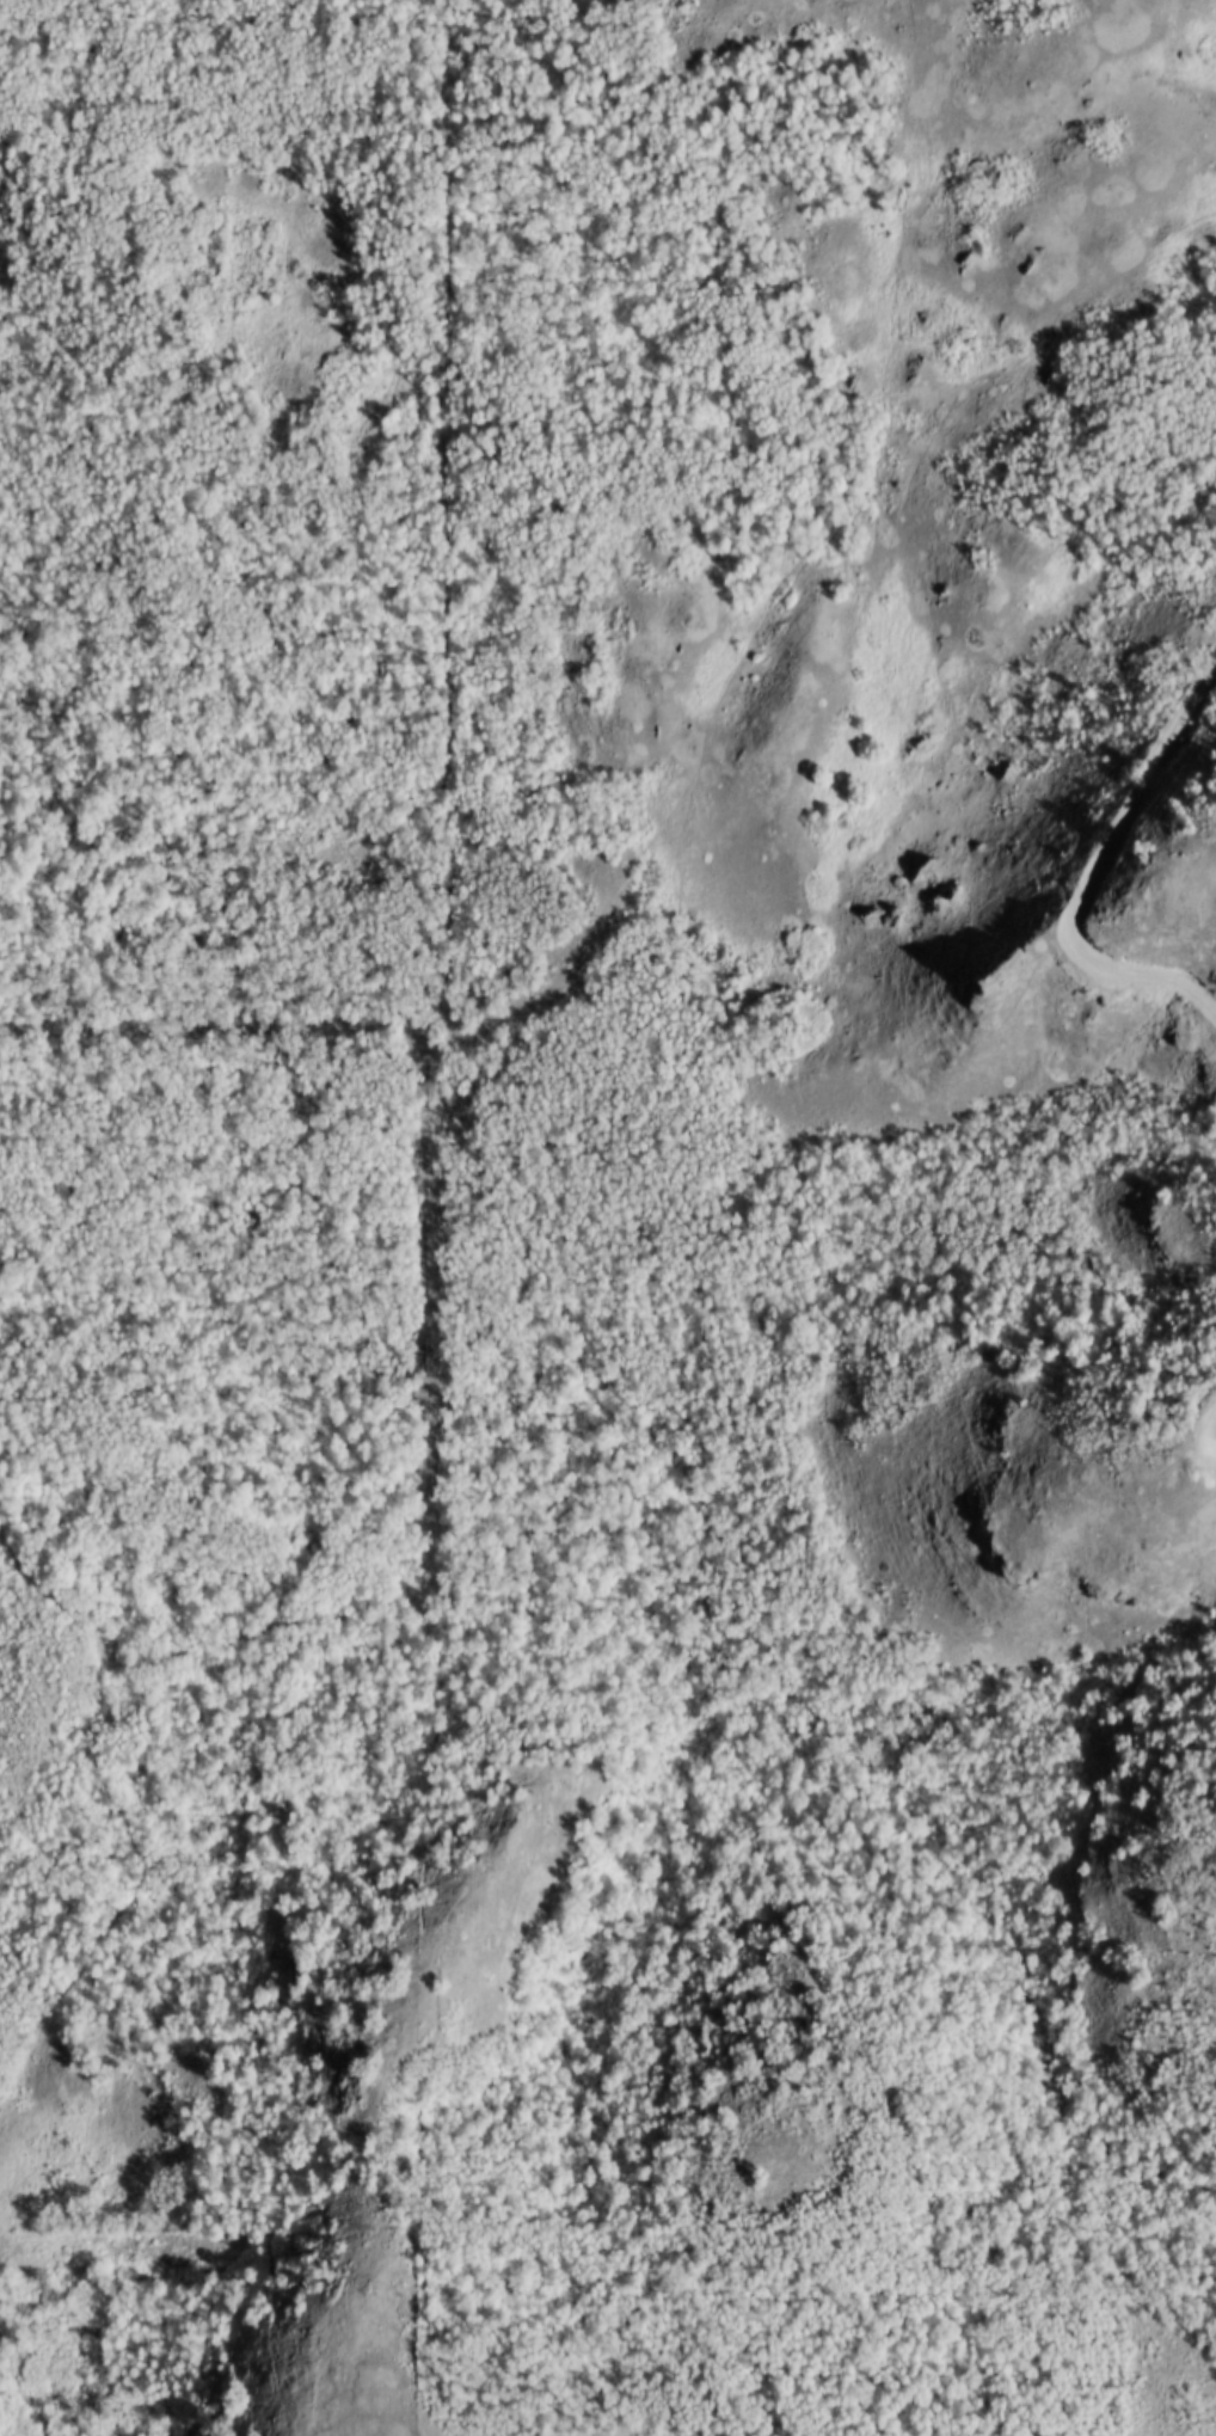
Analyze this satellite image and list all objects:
road: (1080, 870)

